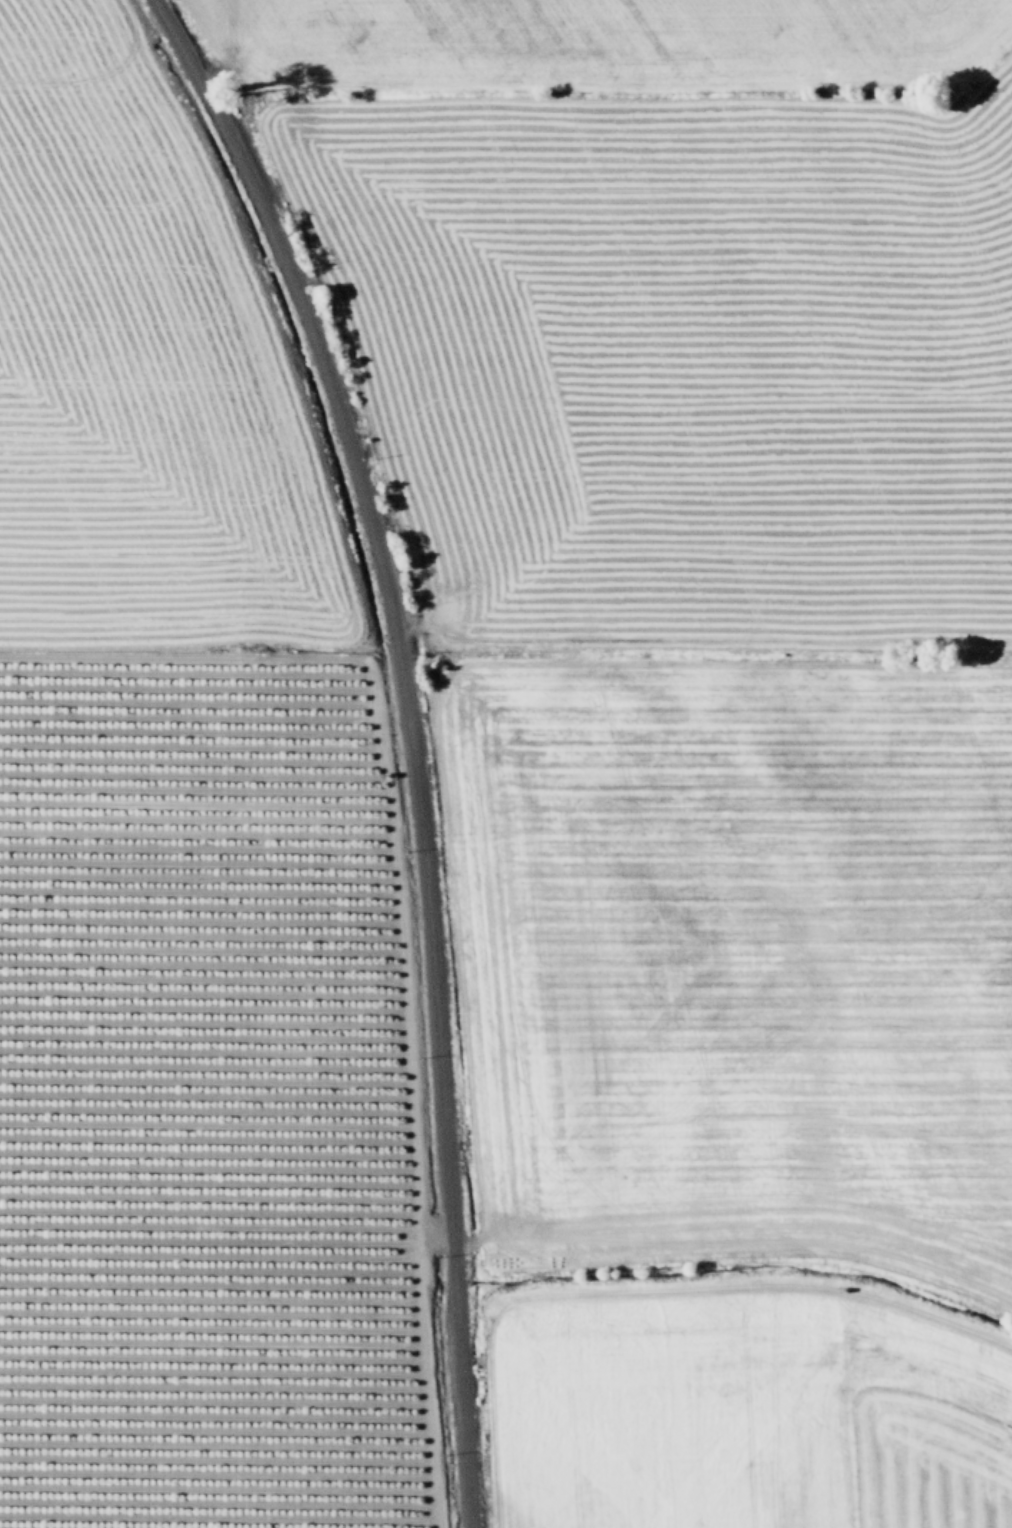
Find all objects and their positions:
road: (411, 739)
crop: (506, 764)

